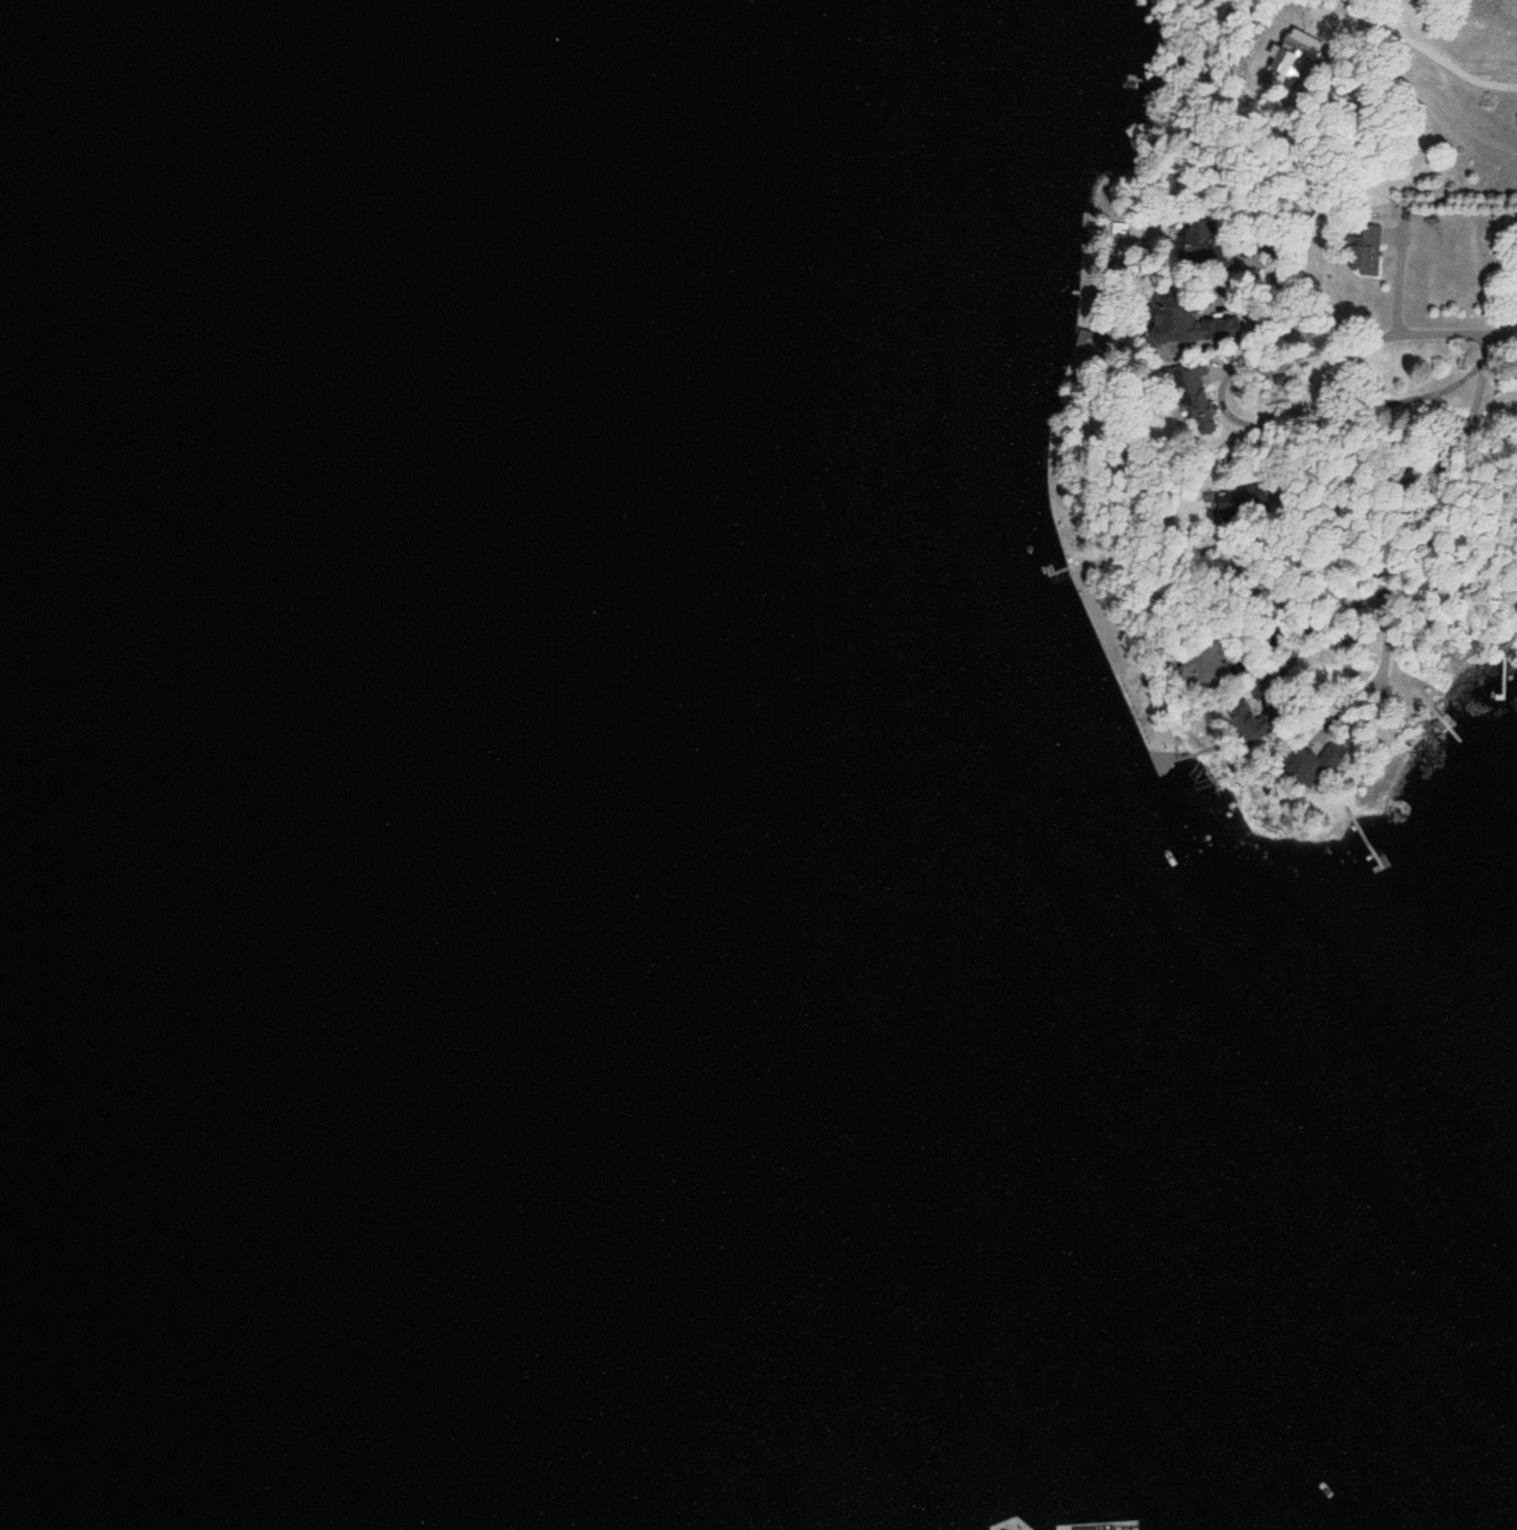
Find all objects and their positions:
building: (1363, 259)
building: (1186, 323)
building: (1191, 380)
building: (1251, 724)

